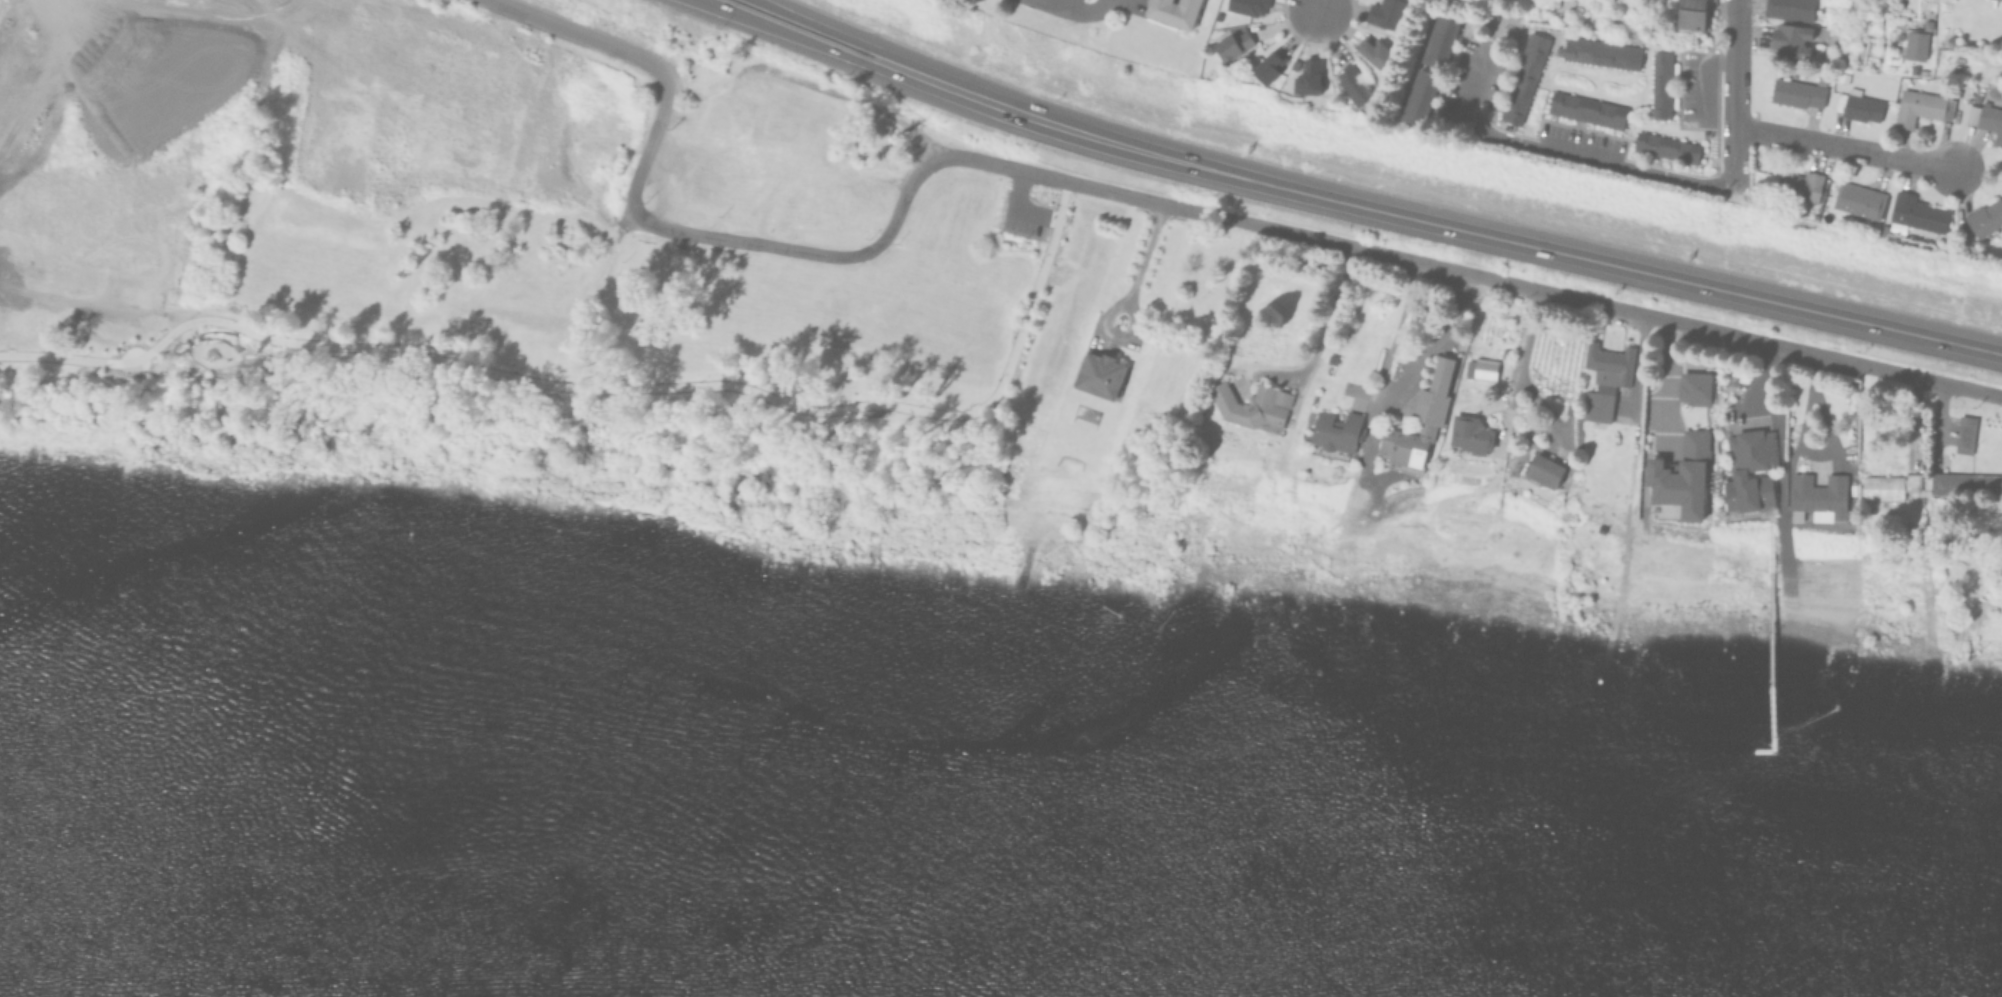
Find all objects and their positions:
building: (1998, 0)
road: (1320, 6)
road: (1082, 10)
road: (590, 33)
road: (865, 41)
road: (839, 49)
road: (1701, 74)
road: (861, 101)
road: (1024, 111)
building: (1986, 120)
road: (650, 137)
road: (1843, 149)
road: (1645, 171)
road: (902, 199)
building: (1986, 220)
road: (622, 225)
road: (752, 241)
road: (1541, 250)
road: (1144, 253)
park: (531, 255)
road: (1462, 272)
road: (1327, 323)
road: (1393, 331)
road: (1438, 337)
road: (1522, 358)
road: (596, 378)
road: (1663, 379)
road: (823, 451)
pier: (1764, 642)

